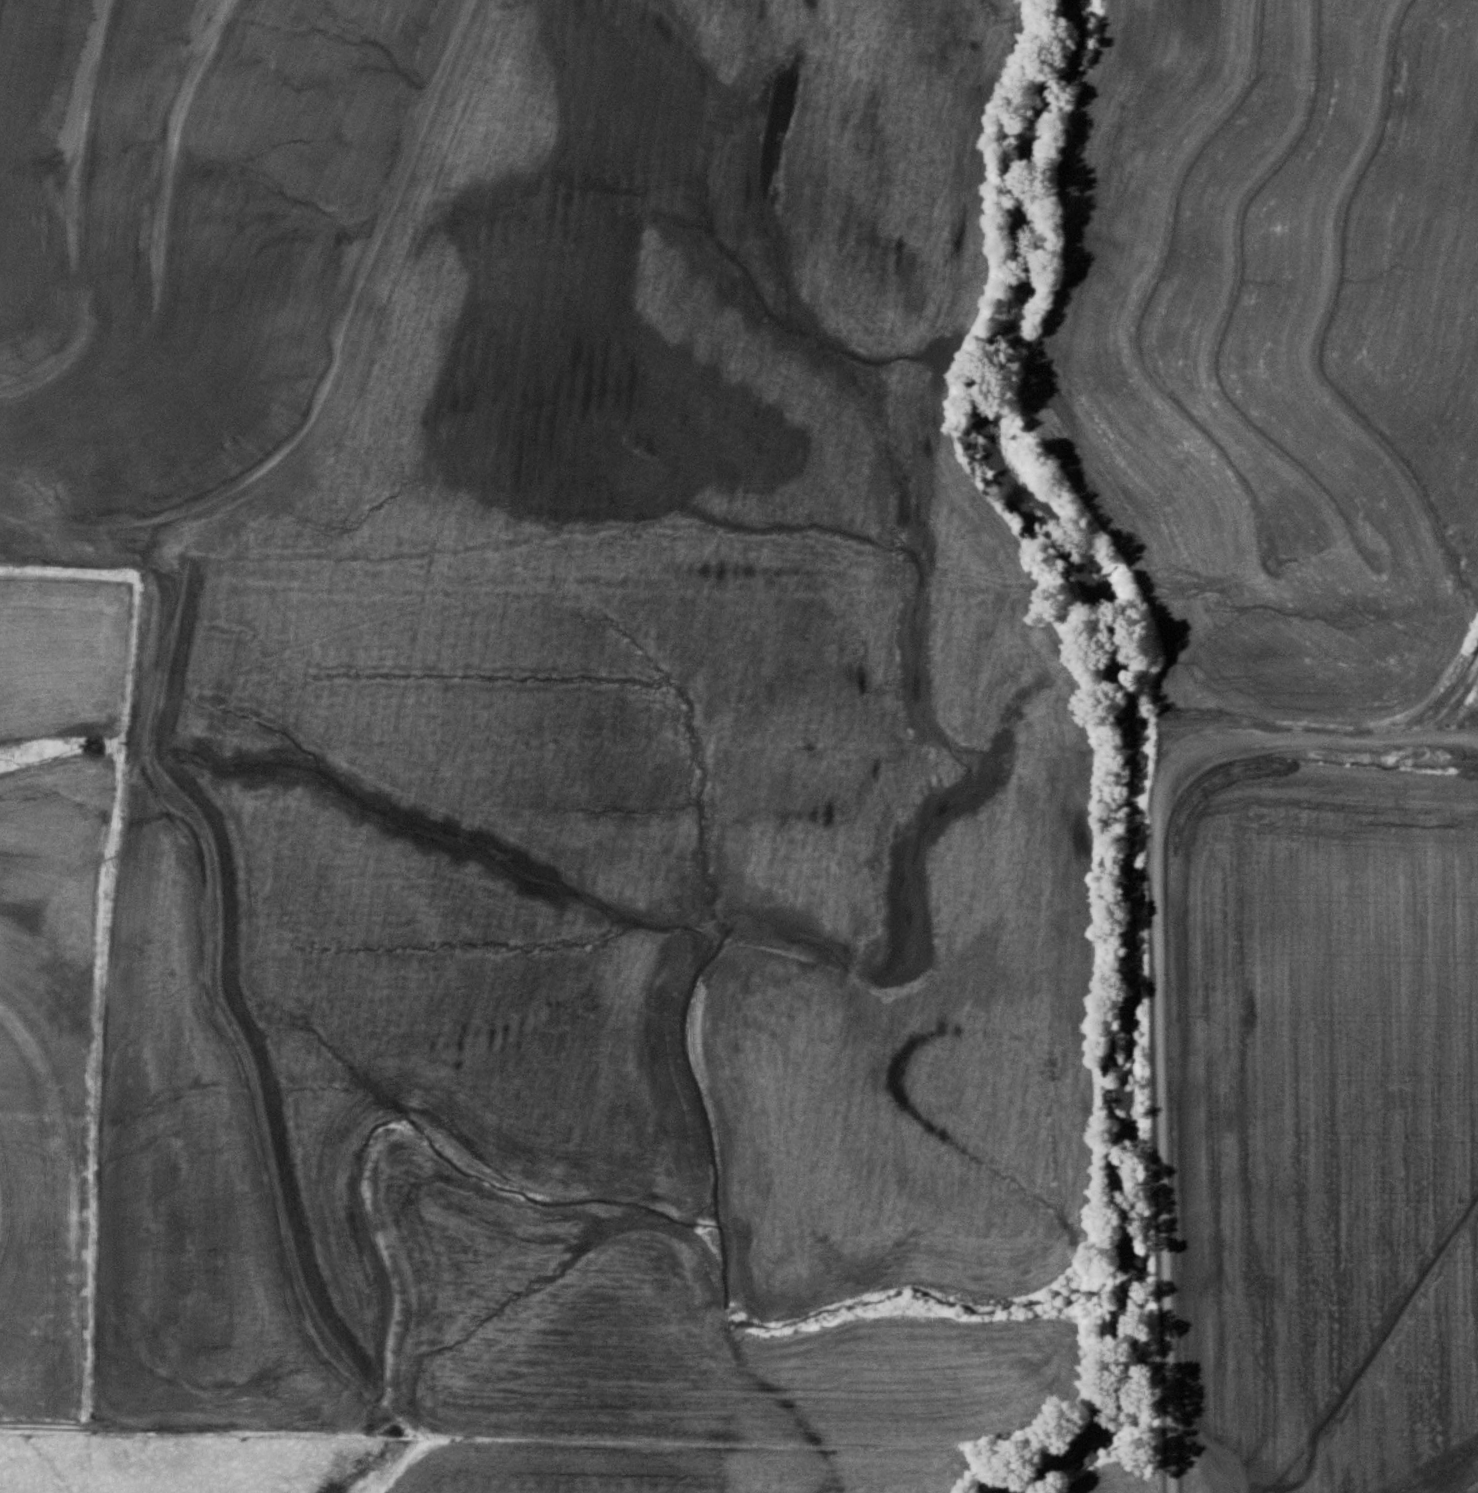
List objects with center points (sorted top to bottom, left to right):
road: (1158, 950)

